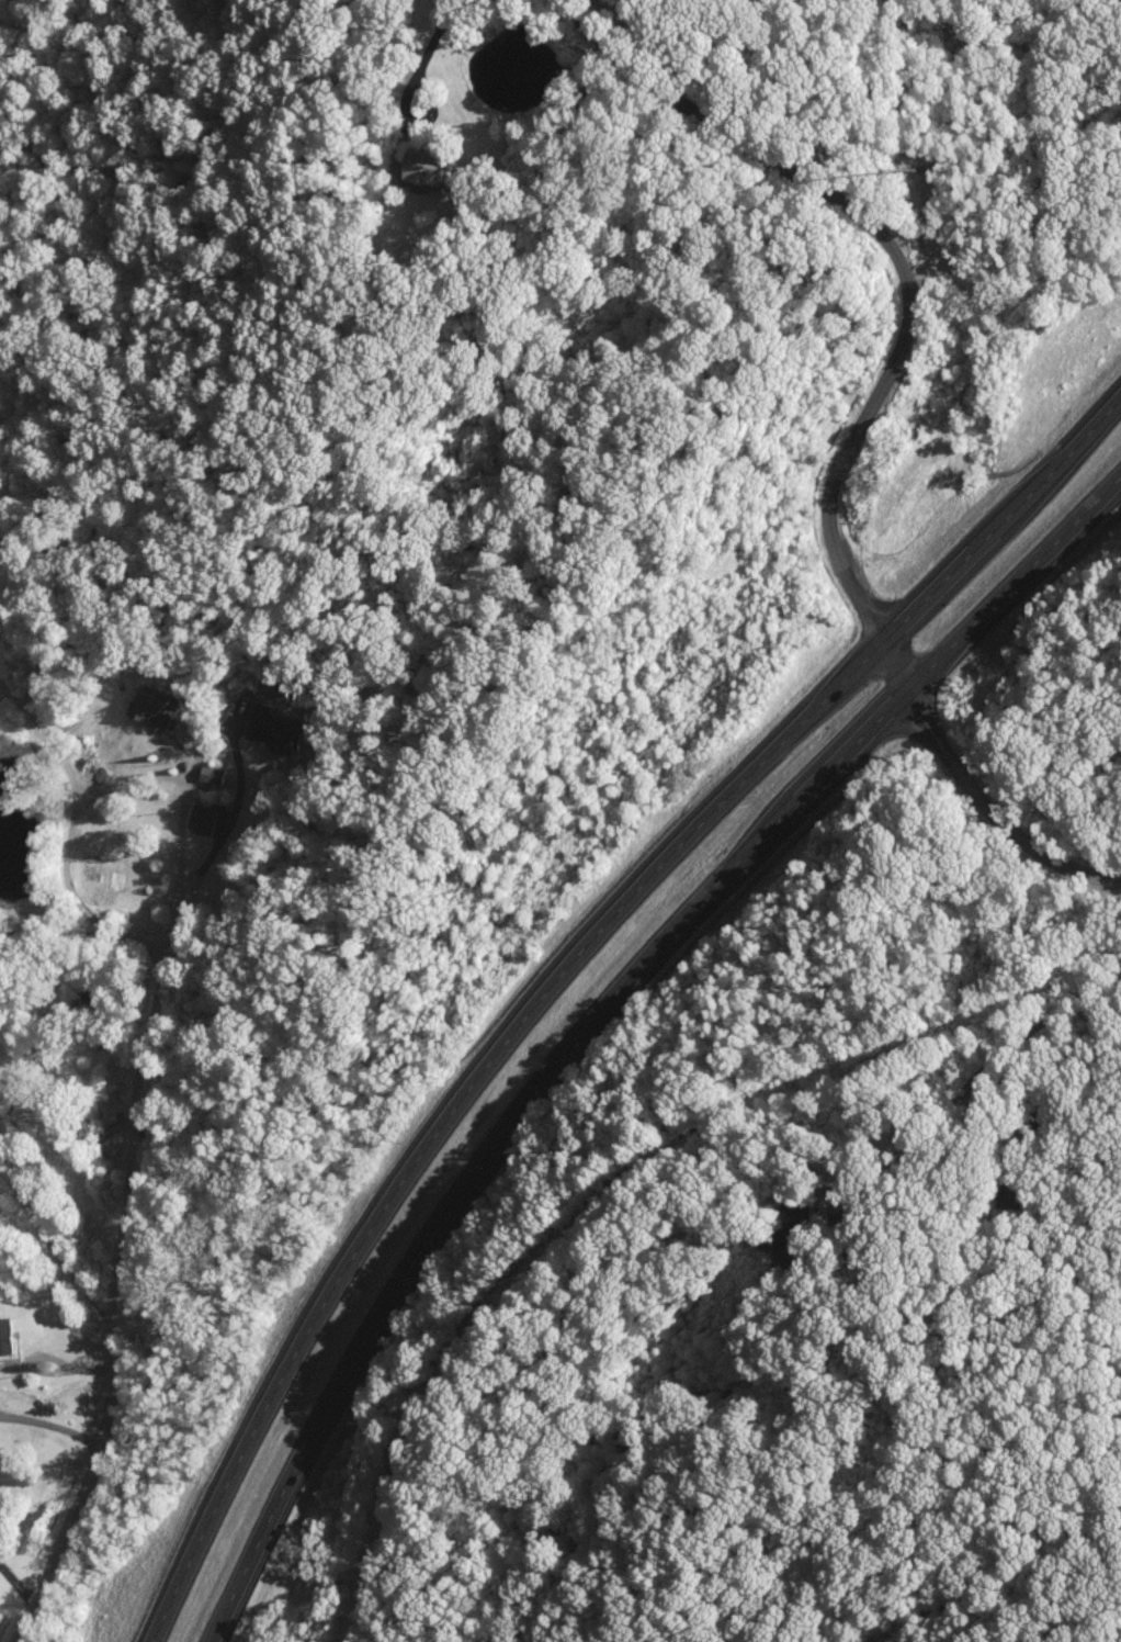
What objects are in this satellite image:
road: (432, 38)
road: (417, 122)
building: (432, 166)
road: (858, 420)
road: (3, 697)
building: (150, 707)
building: (272, 728)
building: (212, 774)
road: (229, 802)
road: (184, 805)
building: (203, 819)
road: (59, 892)
road: (558, 961)
road: (595, 1008)
road: (937, 1112)
road: (995, 1127)
road: (124, 1131)
building: (788, 1221)
road: (44, 1233)
building: (7, 1335)
road: (49, 1429)

